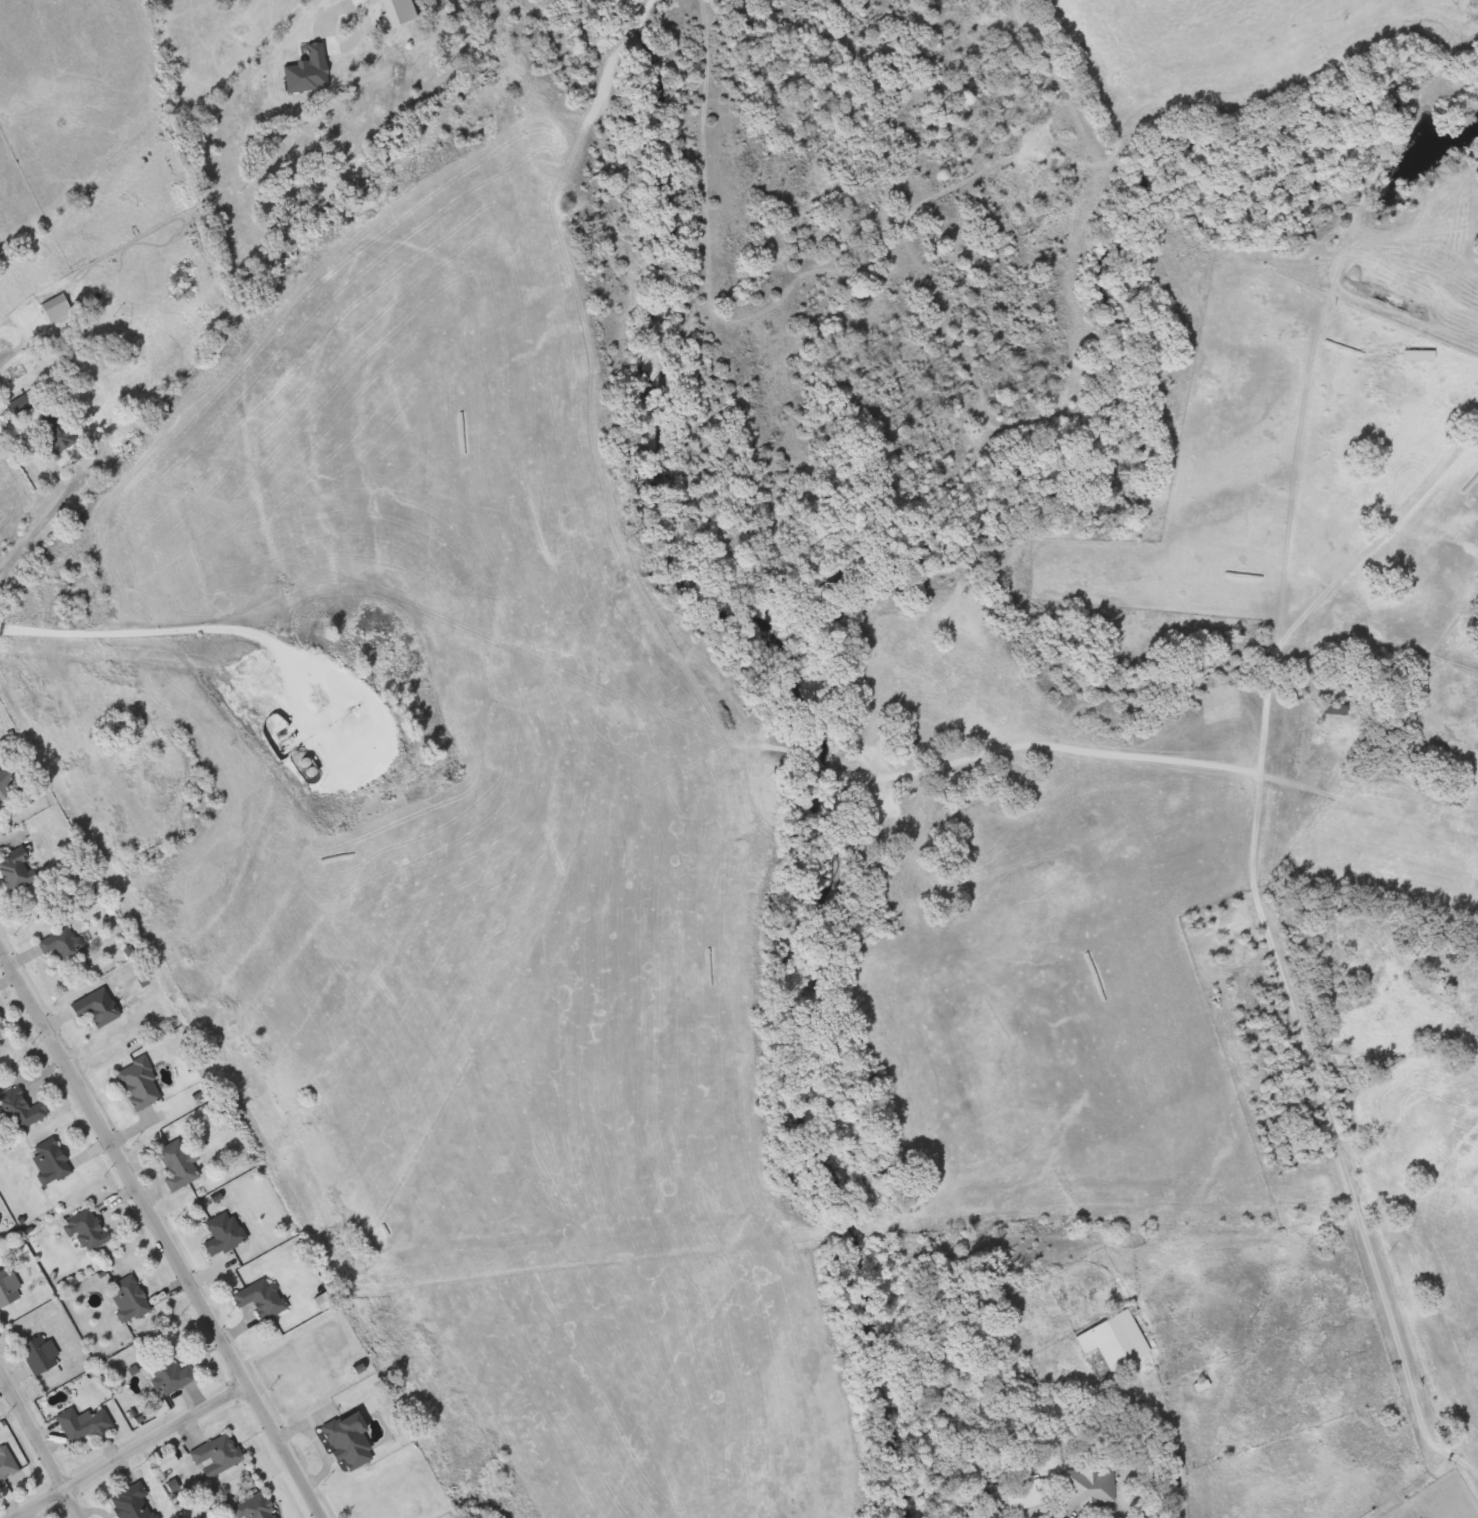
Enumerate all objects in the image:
road: (353, 6)
road: (331, 16)
building: (59, 309)
road: (12, 318)
building: (1413, 357)
building: (24, 407)
building: (60, 435)
road: (47, 513)
road: (1394, 522)
road: (164, 624)
building: (1328, 709)
building: (311, 768)
building: (7, 785)
building: (21, 871)
building: (58, 938)
building: (92, 1000)
building: (5, 1019)
road: (1306, 1057)
building: (137, 1078)
building: (18, 1106)
building: (44, 1155)
building: (180, 1161)
building: (90, 1230)
building: (227, 1234)
road: (158, 1236)
building: (11, 1290)
building: (132, 1299)
building: (265, 1299)
building: (1118, 1341)
building: (44, 1355)
building: (174, 1376)
building: (87, 1424)
building: (353, 1442)
road: (37, 1453)
road: (128, 1453)
building: (220, 1456)
building: (9, 1467)
building: (1094, 1486)
road: (1174, 1490)
building: (1028, 1496)
building: (136, 1503)
building: (258, 1508)

